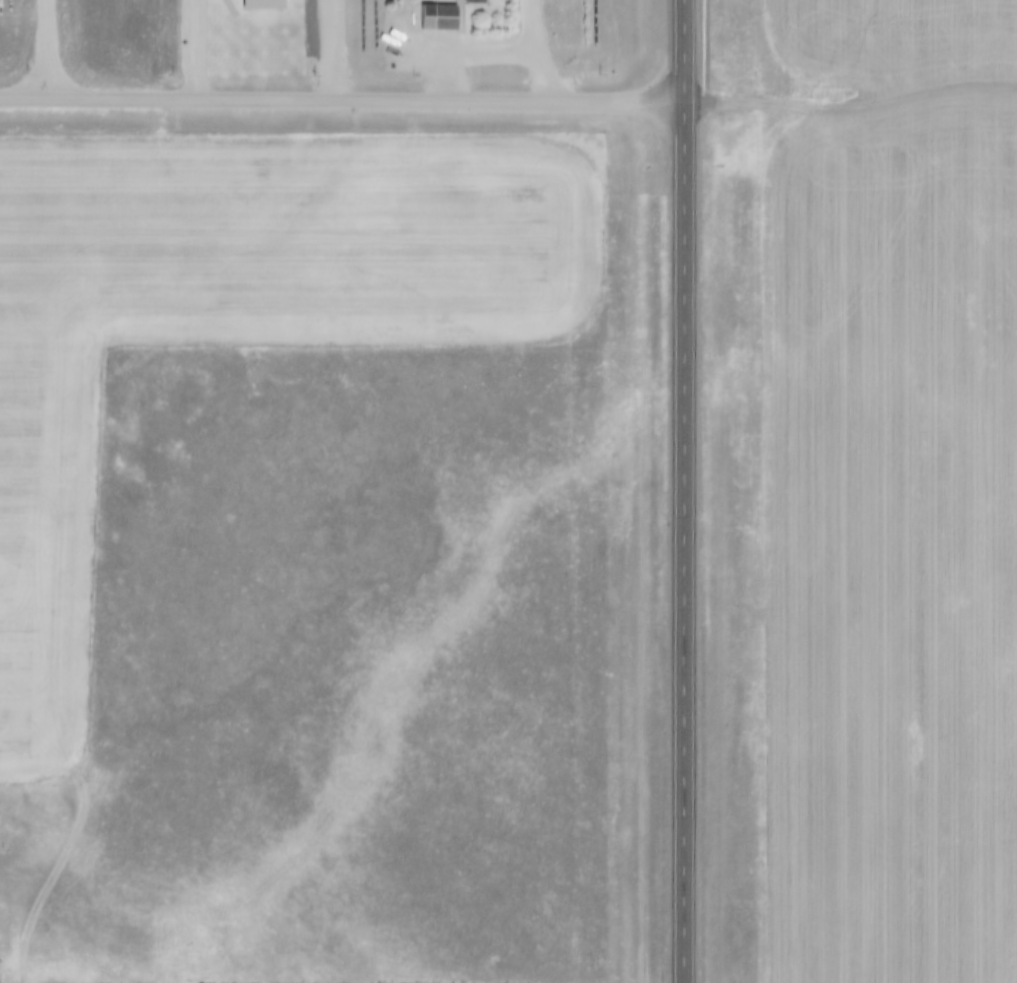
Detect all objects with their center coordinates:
building: (433, 9)
road: (527, 27)
road: (501, 53)
road: (850, 97)
road: (342, 104)
road: (683, 491)

